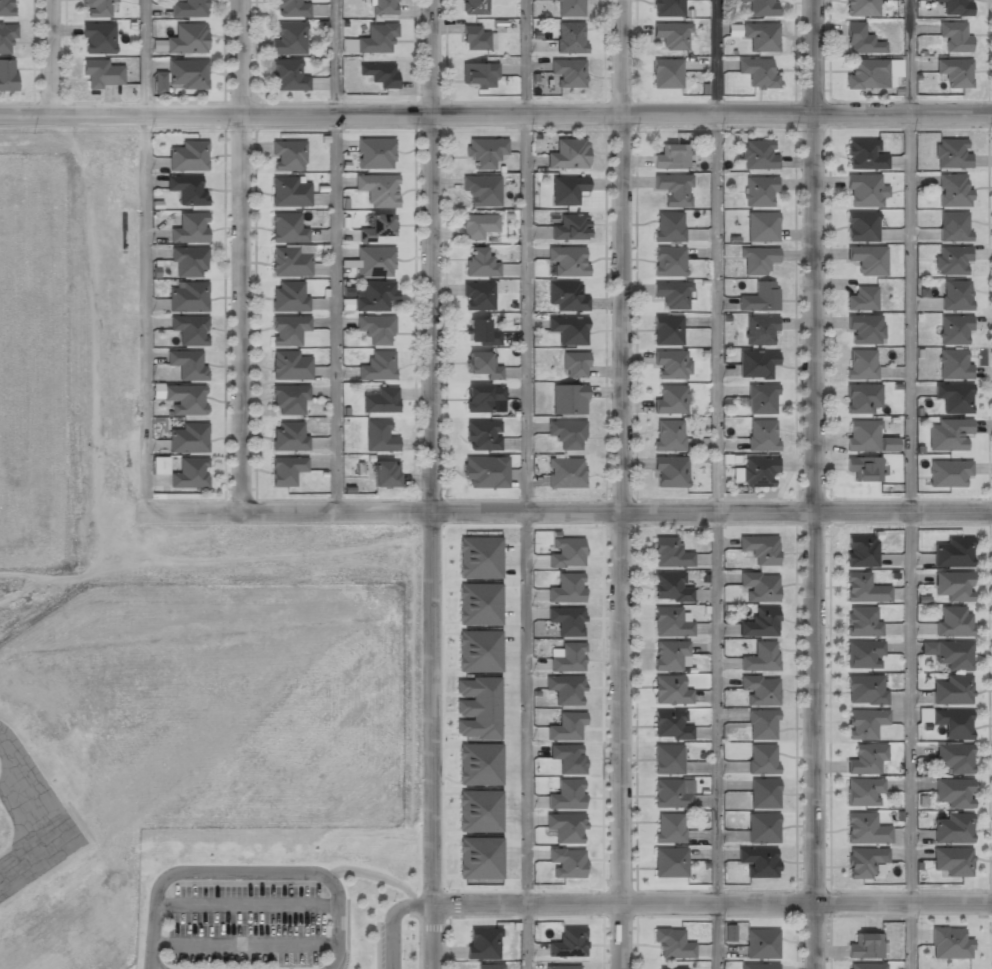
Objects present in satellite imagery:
building: (384, 6)
building: (474, 6)
building: (6, 7)
building: (98, 7)
building: (570, 7)
building: (760, 7)
building: (861, 7)
building: (954, 7)
building: (188, 8)
building: (290, 8)
building: (667, 8)
building: (733, 30)
building: (7, 34)
building: (671, 35)
building: (98, 36)
building: (570, 36)
building: (761, 36)
building: (953, 36)
building: (289, 37)
building: (184, 38)
building: (376, 38)
building: (474, 38)
building: (860, 39)
road: (53, 55)
building: (894, 68)
building: (102, 72)
building: (568, 72)
building: (954, 72)
building: (182, 73)
building: (379, 73)
building: (665, 73)
building: (757, 73)
building: (865, 73)
building: (8, 74)
building: (478, 74)
building: (287, 75)
road: (496, 111)
building: (375, 152)
building: (484, 152)
building: (864, 153)
building: (951, 153)
building: (188, 154)
building: (287, 154)
building: (568, 154)
building: (757, 154)
building: (670, 156)
building: (377, 188)
building: (673, 188)
building: (187, 189)
building: (566, 189)
building: (864, 189)
building: (953, 189)
building: (289, 190)
building: (760, 190)
building: (481, 191)
building: (477, 225)
building: (761, 225)
building: (862, 225)
building: (954, 225)
building: (377, 226)
building: (668, 226)
building: (286, 227)
building: (570, 227)
building: (190, 228)
road: (337, 255)
road: (142, 256)
road: (245, 256)
road: (435, 256)
building: (867, 258)
building: (567, 259)
building: (756, 259)
building: (951, 259)
building: (374, 260)
building: (668, 260)
building: (188, 261)
building: (289, 261)
building: (479, 261)
building: (671, 292)
building: (375, 294)
building: (955, 294)
building: (477, 295)
building: (566, 295)
building: (188, 296)
building: (289, 296)
building: (759, 296)
building: (862, 297)
building: (376, 328)
building: (864, 328)
building: (190, 329)
building: (288, 329)
building: (568, 329)
building: (666, 329)
building: (760, 329)
building: (954, 329)
building: (480, 331)
building: (860, 362)
building: (954, 362)
building: (574, 363)
building: (671, 363)
building: (757, 363)
building: (186, 364)
building: (480, 364)
building: (290, 365)
building: (377, 365)
building: (954, 396)
building: (481, 397)
building: (290, 398)
building: (568, 398)
building: (670, 398)
building: (761, 398)
building: (862, 398)
building: (186, 399)
building: (380, 399)
building: (566, 432)
building: (952, 433)
building: (483, 434)
building: (289, 435)
building: (667, 435)
building: (761, 435)
building: (378, 436)
building: (867, 436)
building: (188, 438)
road: (527, 449)
building: (160, 465)
building: (864, 468)
building: (286, 469)
building: (484, 471)
building: (670, 471)
building: (759, 471)
building: (947, 471)
building: (565, 472)
building: (190, 473)
building: (384, 474)
road: (629, 484)
road: (716, 484)
road: (816, 484)
road: (910, 484)
road: (566, 512)
building: (759, 547)
building: (861, 550)
building: (953, 550)
building: (565, 551)
building: (669, 553)
building: (479, 557)
building: (759, 584)
building: (954, 584)
building: (669, 586)
building: (566, 587)
building: (863, 587)
building: (480, 604)
building: (566, 618)
building: (862, 619)
building: (952, 619)
building: (759, 620)
building: (669, 621)
building: (480, 651)
building: (668, 653)
building: (864, 653)
building: (954, 653)
building: (761, 654)
building: (569, 656)
building: (566, 688)
building: (760, 688)
building: (865, 688)
building: (952, 688)
building: (669, 690)
road: (433, 705)
building: (478, 707)
building: (864, 722)
building: (952, 722)
building: (761, 723)
building: (669, 724)
building: (566, 725)
airport: (191, 738)
building: (568, 756)
building: (762, 757)
building: (954, 757)
building: (865, 758)
building: (667, 759)
building: (480, 764)
airport taxiway: (31, 788)
building: (864, 791)
building: (763, 792)
building: (953, 792)
building: (567, 794)
building: (668, 794)
building: (473, 799)
building: (566, 825)
building: (762, 827)
building: (668, 828)
building: (865, 828)
building: (952, 828)
airport runway: (37, 851)
building: (480, 857)
building: (757, 860)
building: (864, 860)
building: (567, 861)
building: (952, 861)
building: (668, 862)
road: (246, 871)
road: (711, 899)
road: (245, 905)
road: (392, 921)
road: (431, 934)
road: (526, 934)
building: (567, 942)
building: (482, 943)
building: (672, 943)
building: (761, 943)
building: (949, 943)
road: (244, 945)
building: (865, 945)
building: (866, 965)
building: (489, 966)
building: (561, 966)
building: (758, 966)
building: (671, 968)

